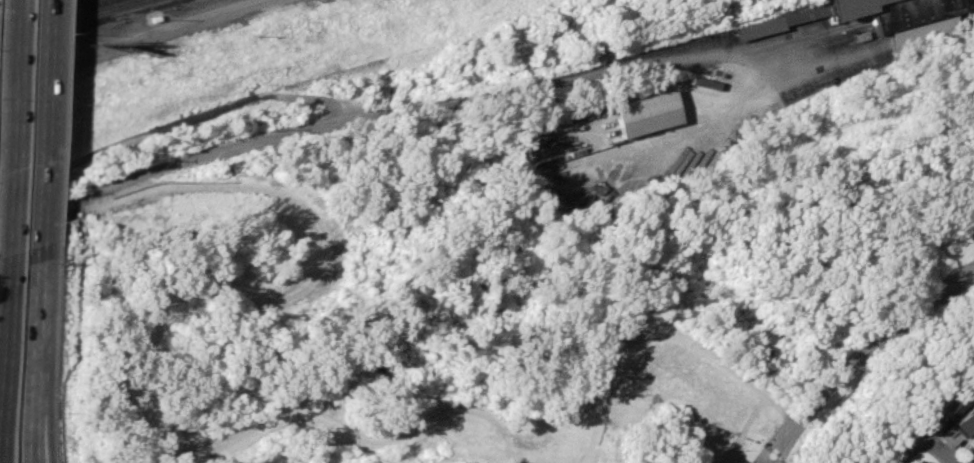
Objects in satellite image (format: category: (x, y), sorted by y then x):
railway: (6, 1)
railway: (34, 9)
railway: (40, 13)
railway: (52, 14)
building: (878, 17)
railway: (69, 19)
railway: (100, 28)
road: (604, 69)
road: (311, 96)
building: (646, 113)
road: (185, 120)
road: (45, 125)
road: (7, 127)
road: (237, 145)
road: (46, 211)
road: (2, 300)
park: (608, 331)
road: (39, 333)
road: (685, 345)
road: (145, 347)
road: (862, 358)
building: (957, 398)
road: (786, 412)
building: (966, 420)
building: (972, 438)
road: (37, 440)
road: (43, 440)
road: (922, 440)

